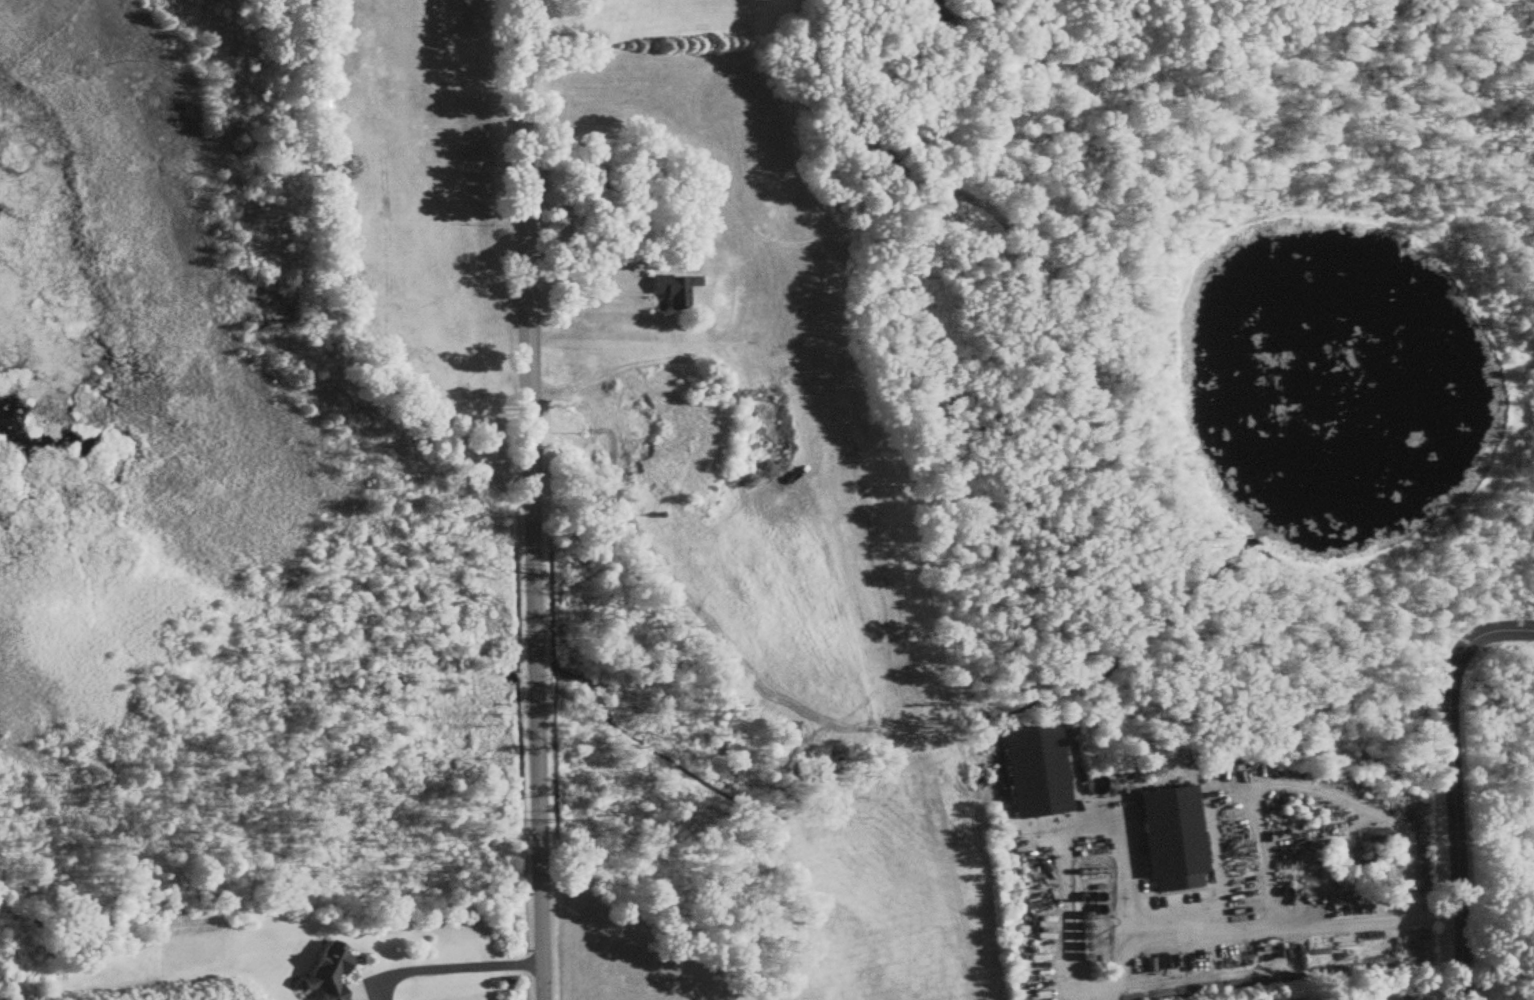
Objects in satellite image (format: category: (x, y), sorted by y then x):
road: (583, 274)
building: (677, 289)
road: (531, 500)
road: (1473, 643)
building: (1031, 772)
building: (1167, 839)
road: (1458, 849)
road: (1268, 929)
road: (448, 967)

